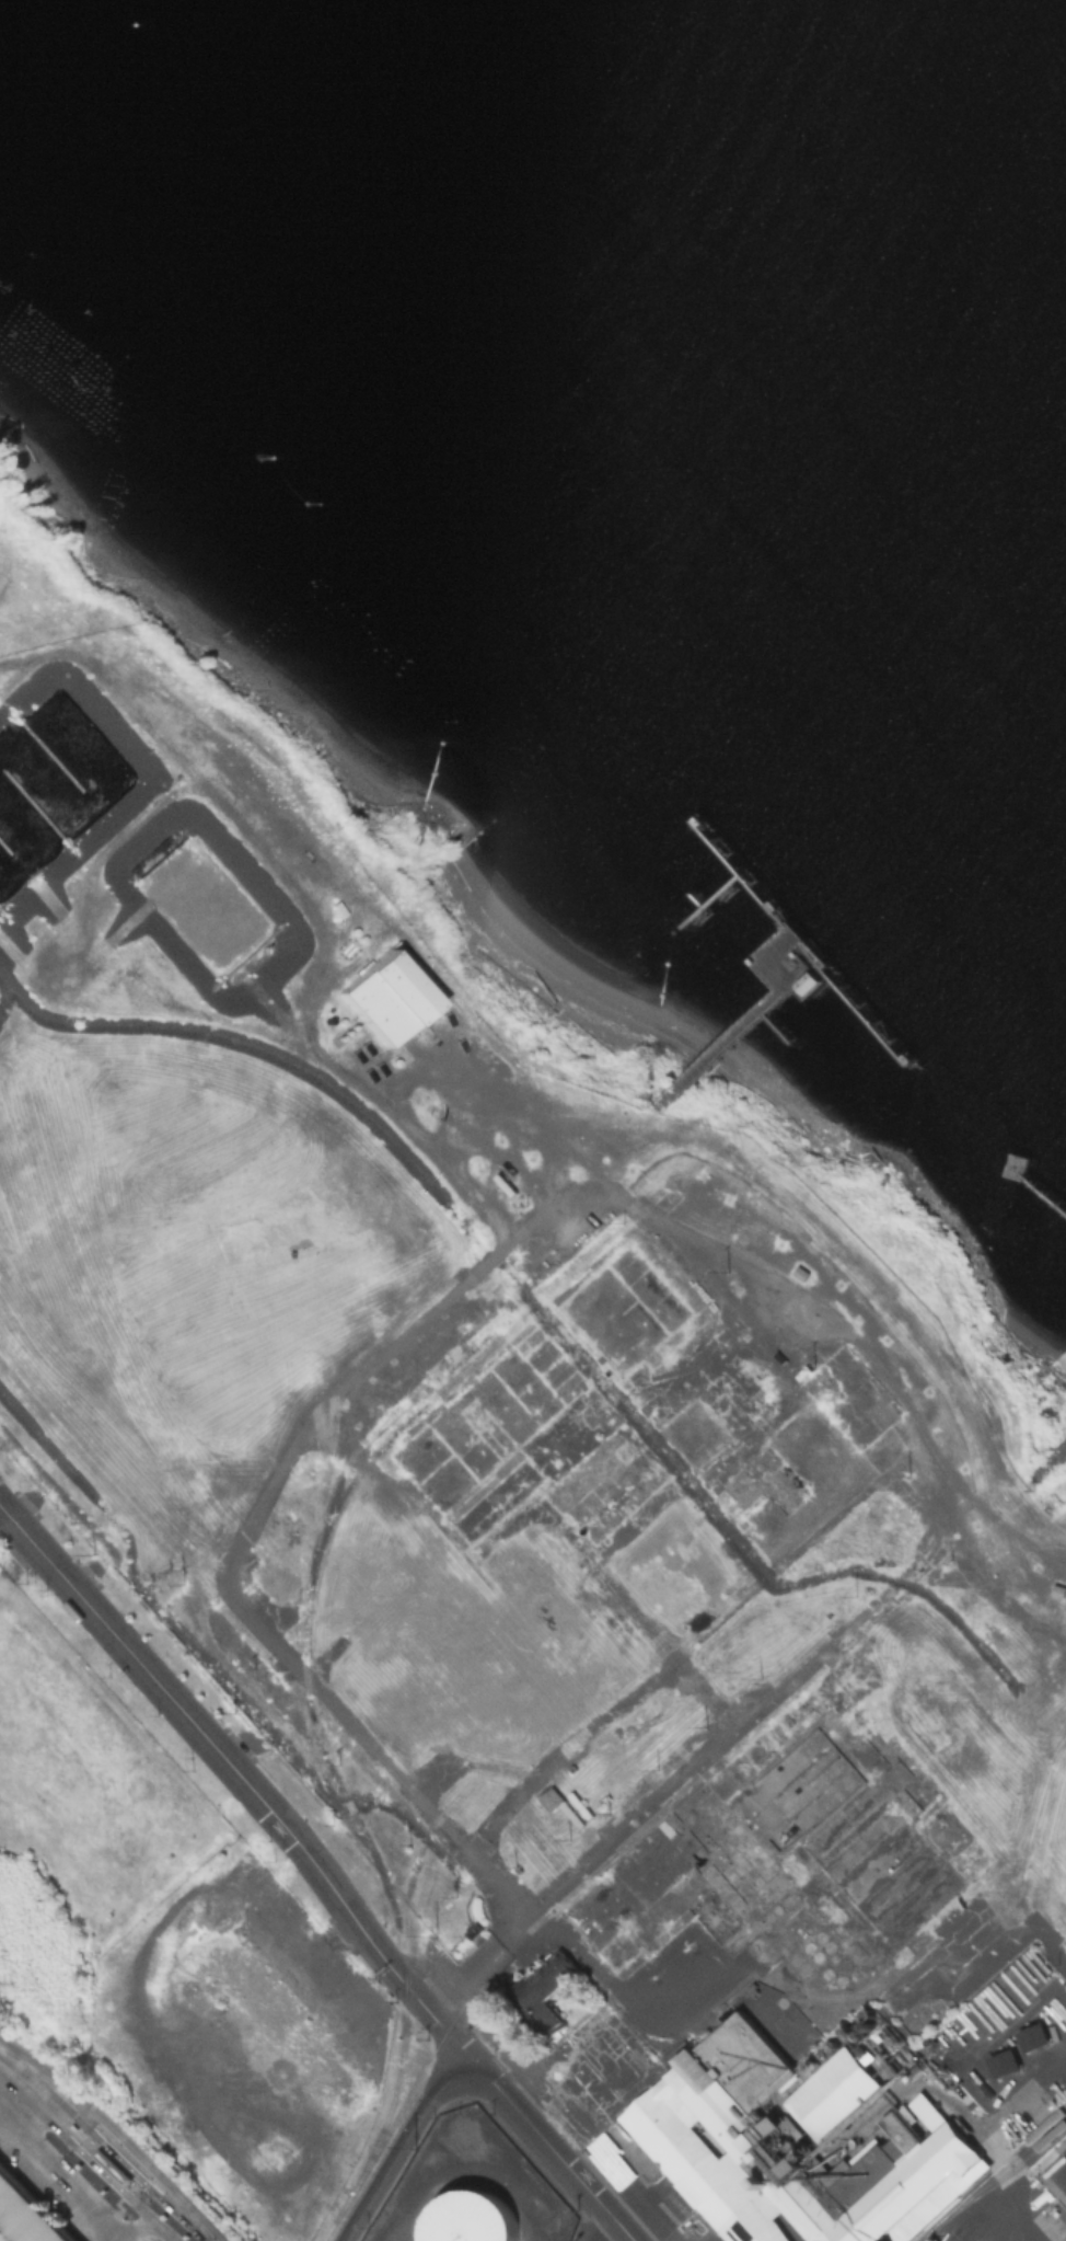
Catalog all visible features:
river: (851, 193)
pier: (791, 959)
building: (384, 995)
pier: (1030, 1176)
road: (439, 1297)
railway: (332, 1421)
railway: (317, 1422)
pier: (1046, 1462)
railway: (329, 1505)
railway: (310, 1573)
road: (551, 1761)
road: (236, 1770)
road: (652, 1794)
building: (549, 1797)
railway: (374, 1857)
road: (338, 1927)
railway: (495, 1961)
road: (461, 1973)
building: (543, 1991)
road: (622, 2002)
railway: (407, 2011)
building: (1032, 2036)
building: (874, 2061)
building: (1004, 2061)
road: (8, 2069)
road: (20, 2078)
road: (513, 2105)
building: (72, 2126)
road: (117, 2133)
building: (784, 2135)
road: (398, 2142)
traffic signals: (74, 2146)
road: (121, 2161)
road: (45, 2162)
building: (111, 2165)
road: (97, 2168)
railway: (990, 2172)
railway: (1004, 2172)
road: (971, 2173)
traffic signals: (146, 2183)
parking lot: (49, 2185)
road: (601, 2203)
road: (138, 2207)
road: (176, 2211)
building: (25, 2214)
road: (115, 2217)
building: (468, 2217)
storage tank: (468, 2217)
road: (136, 2229)
road: (164, 2232)

